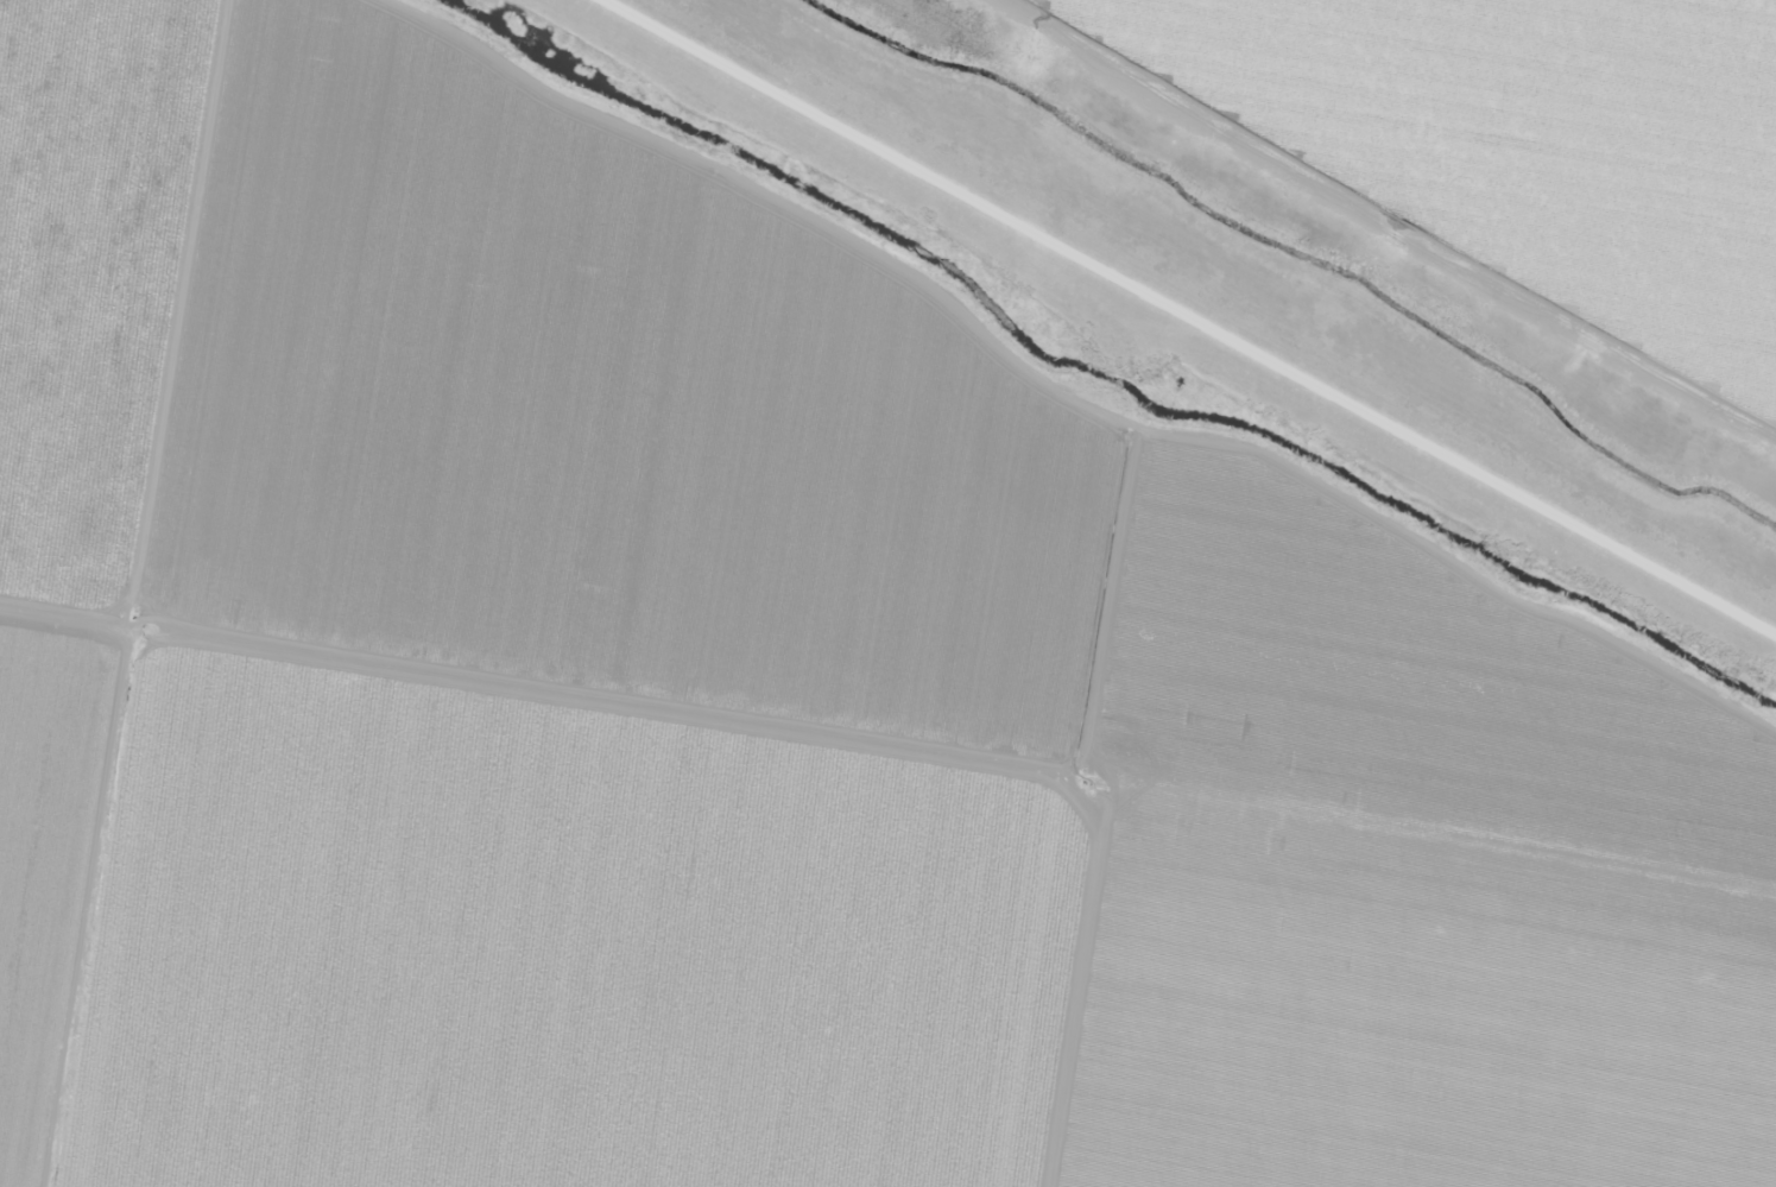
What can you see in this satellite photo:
river: (886, 222)
road: (1232, 301)

